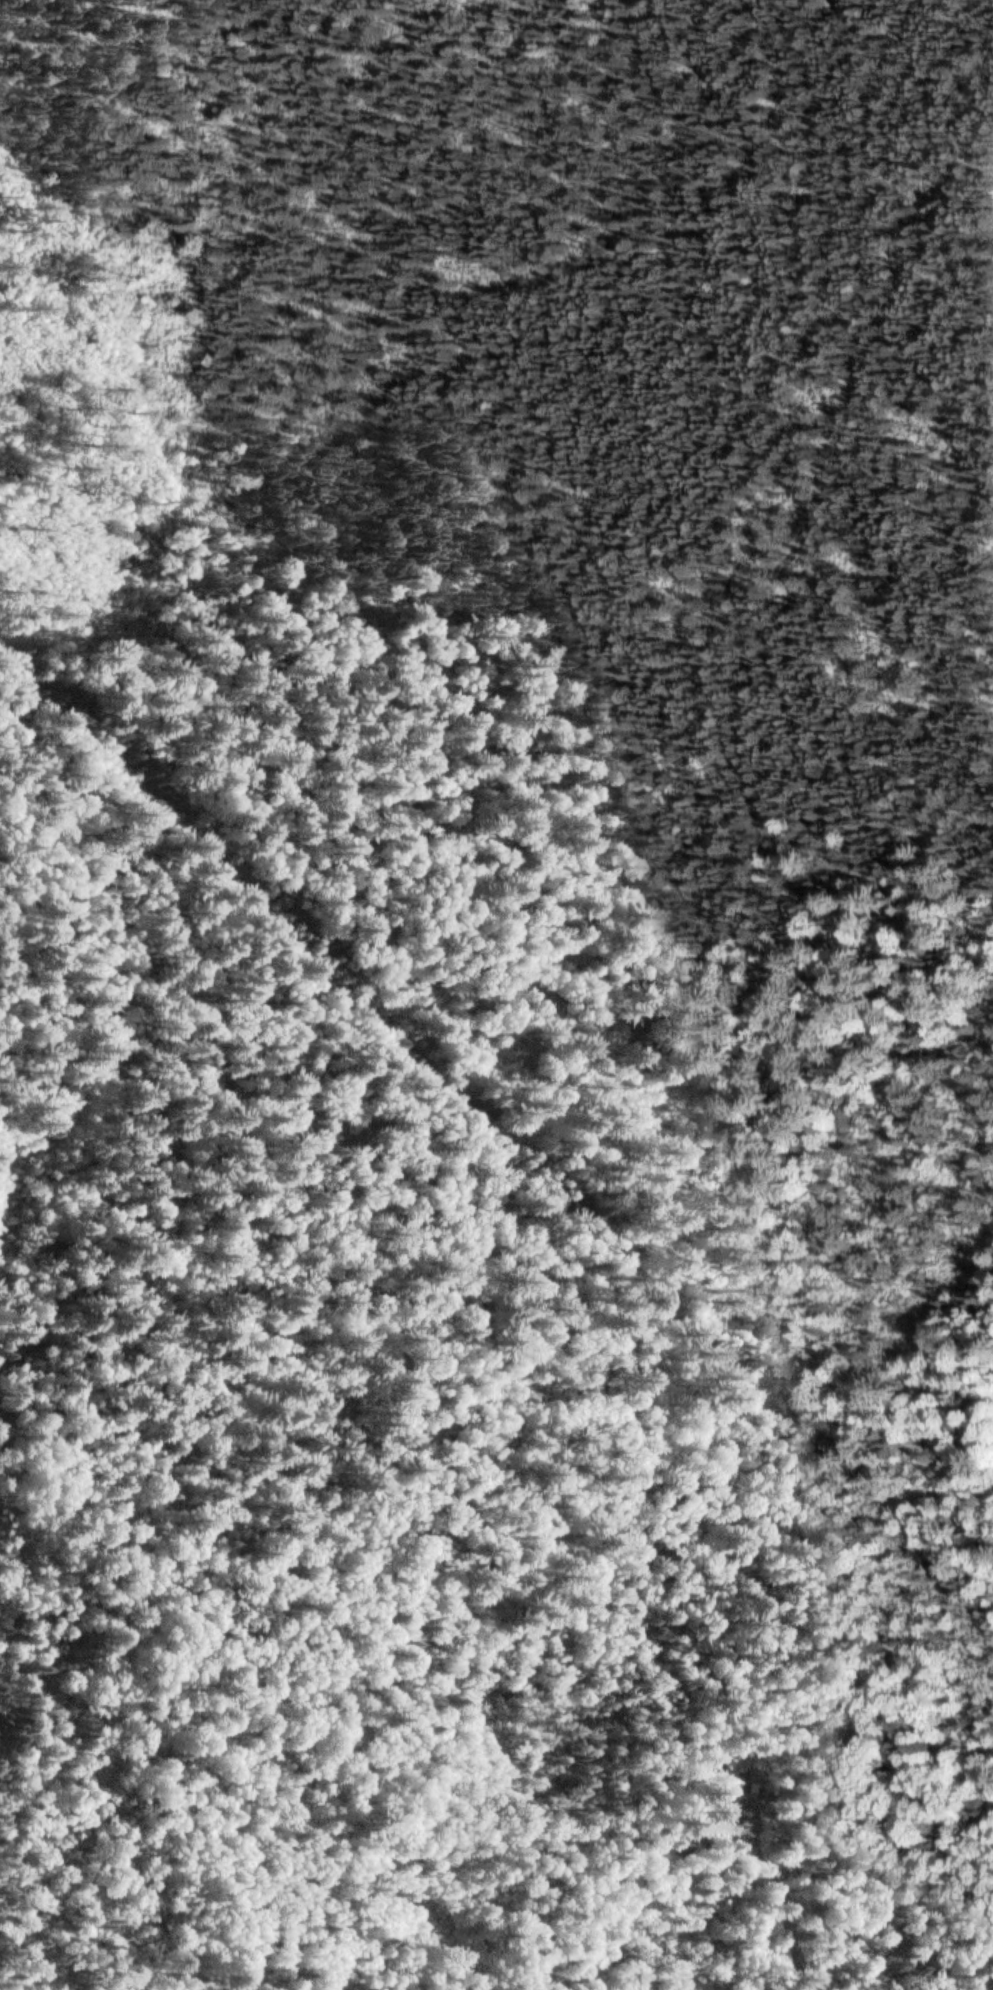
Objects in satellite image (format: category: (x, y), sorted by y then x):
building: (678, 1847)

